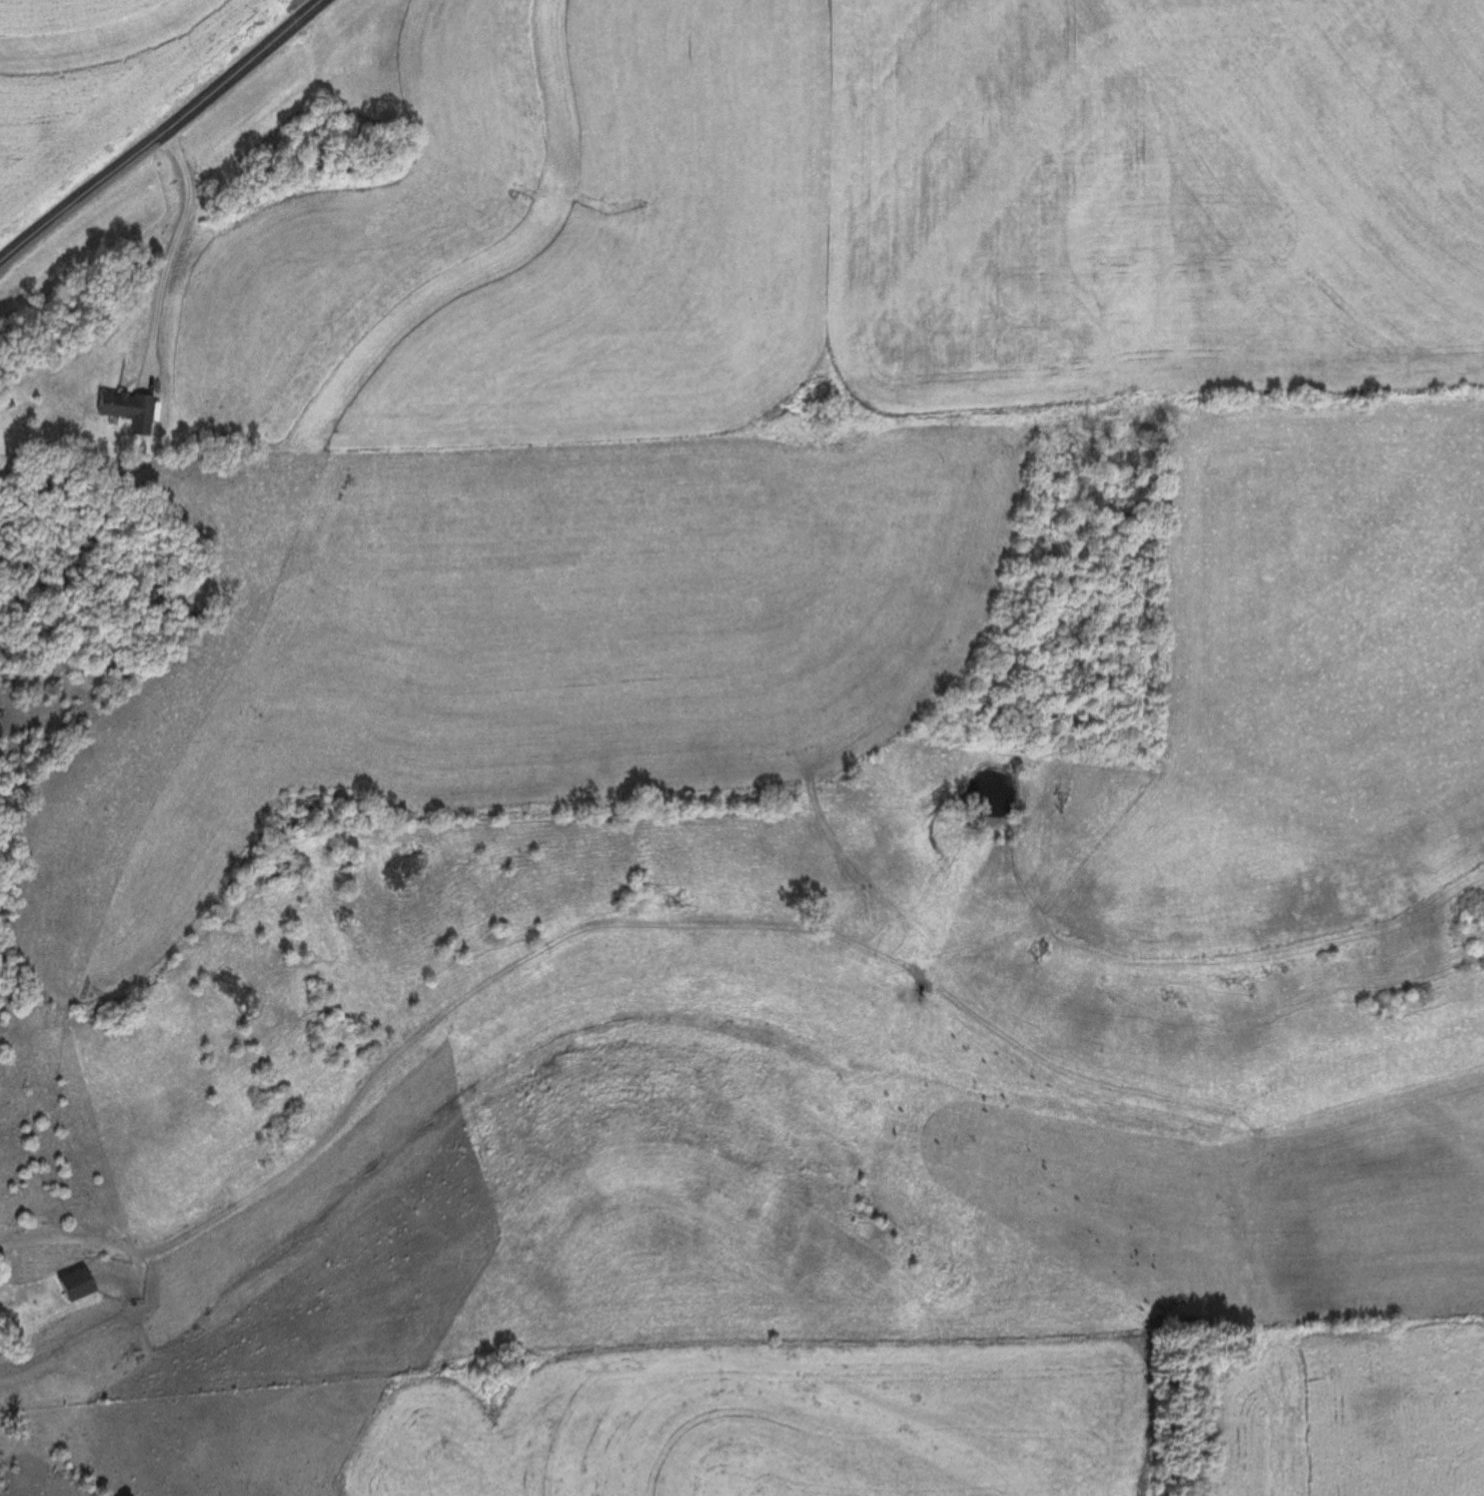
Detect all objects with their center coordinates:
road: (163, 136)
road: (163, 253)
building: (125, 408)
building: (71, 1283)
building: (4, 1292)

